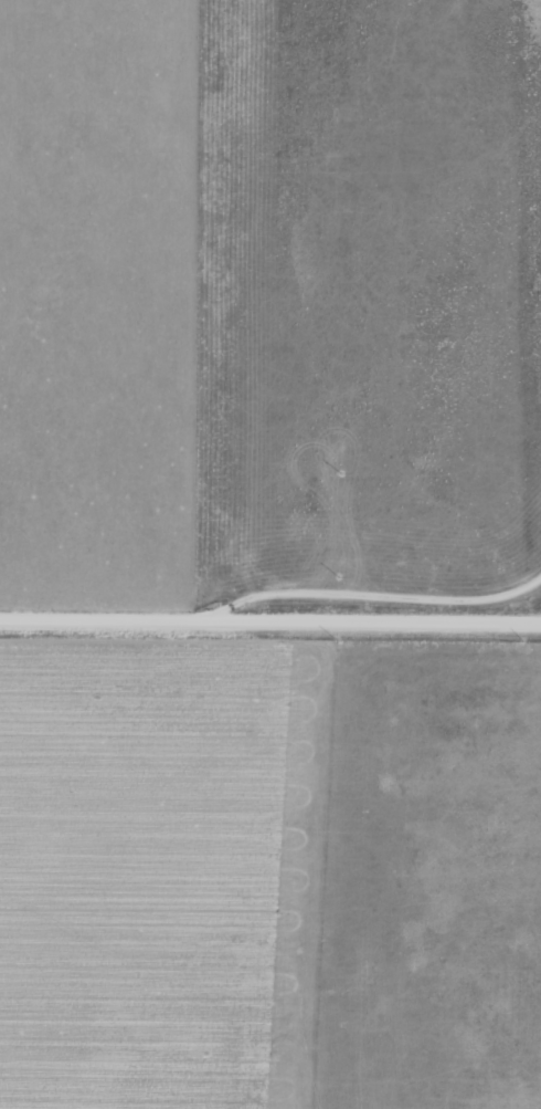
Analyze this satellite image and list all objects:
road: (354, 565)
road: (538, 615)
road: (270, 618)

